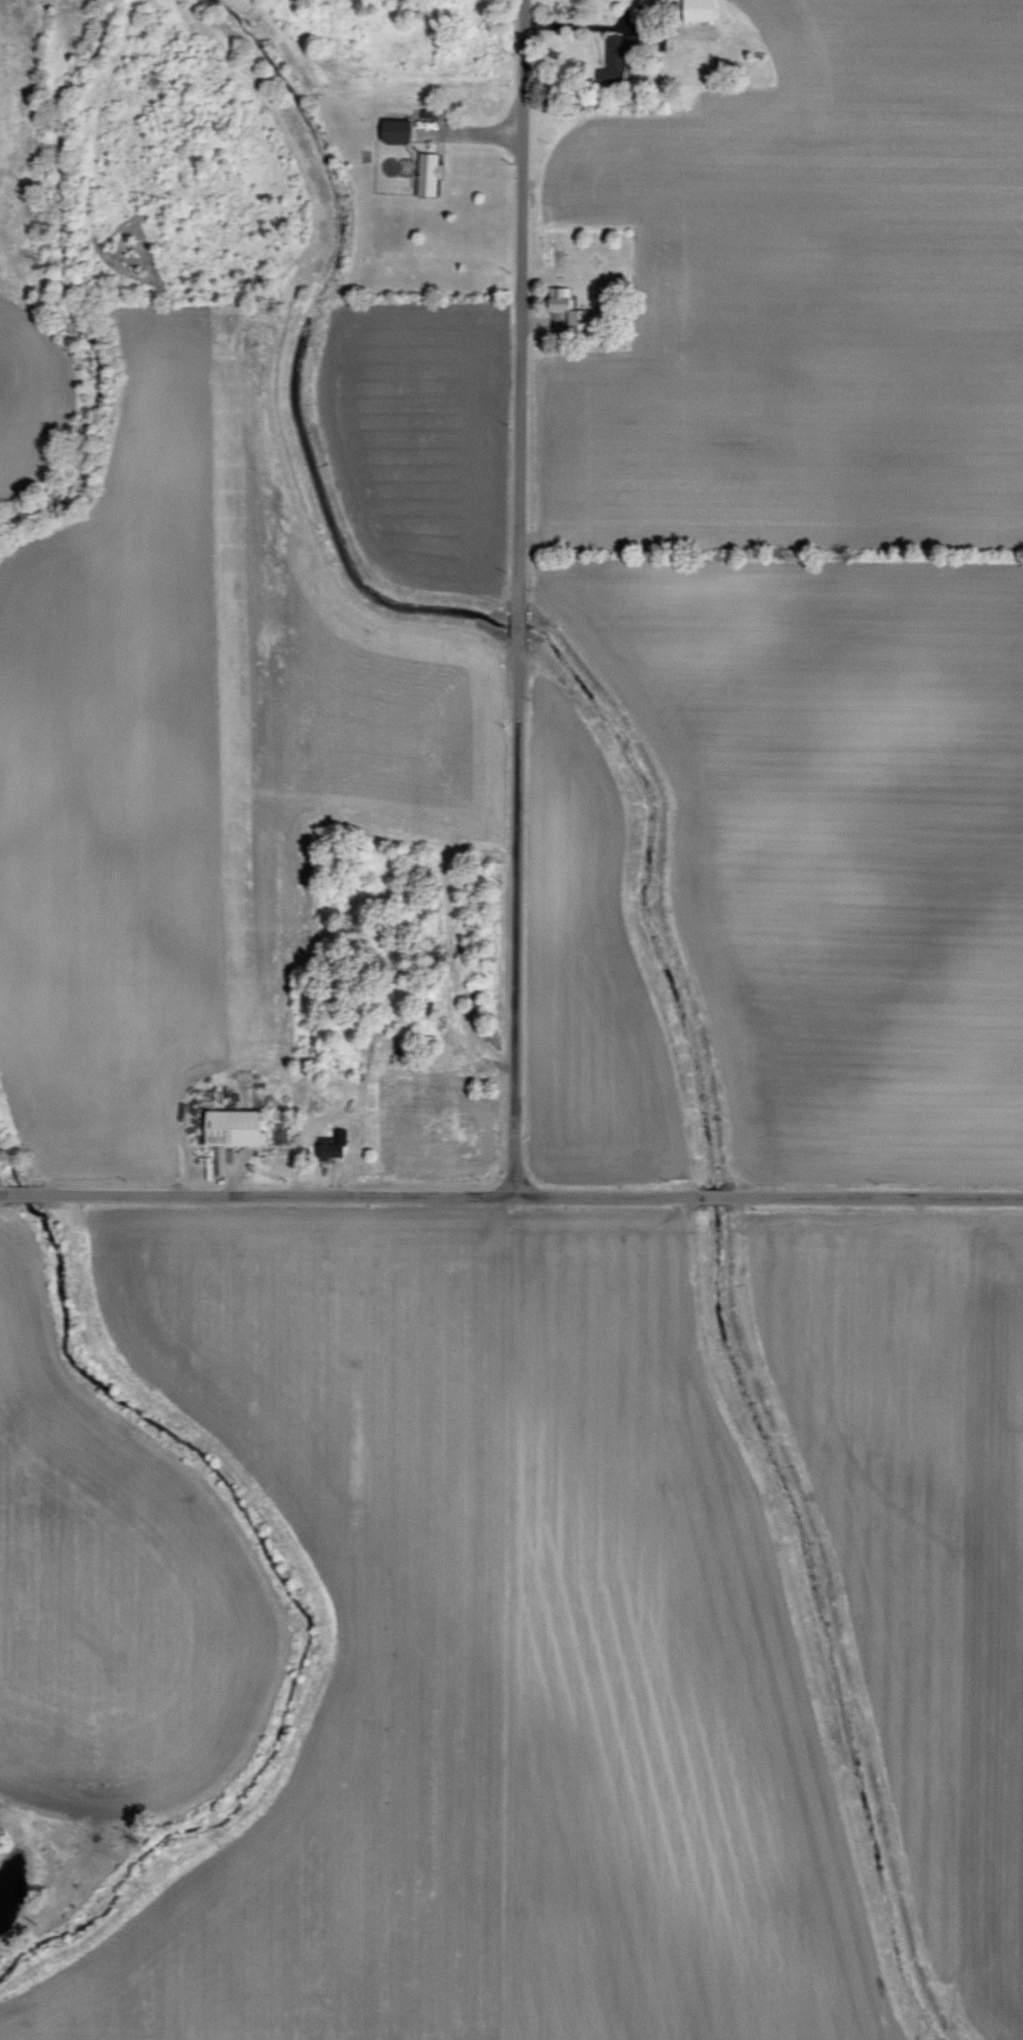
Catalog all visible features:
road: (514, 596)
road: (511, 1192)

